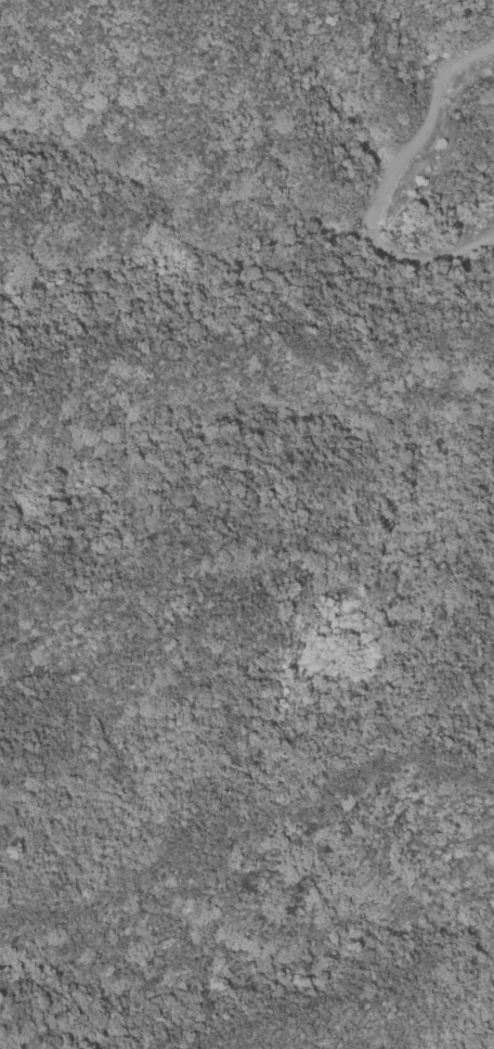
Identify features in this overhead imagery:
road: (383, 188)

